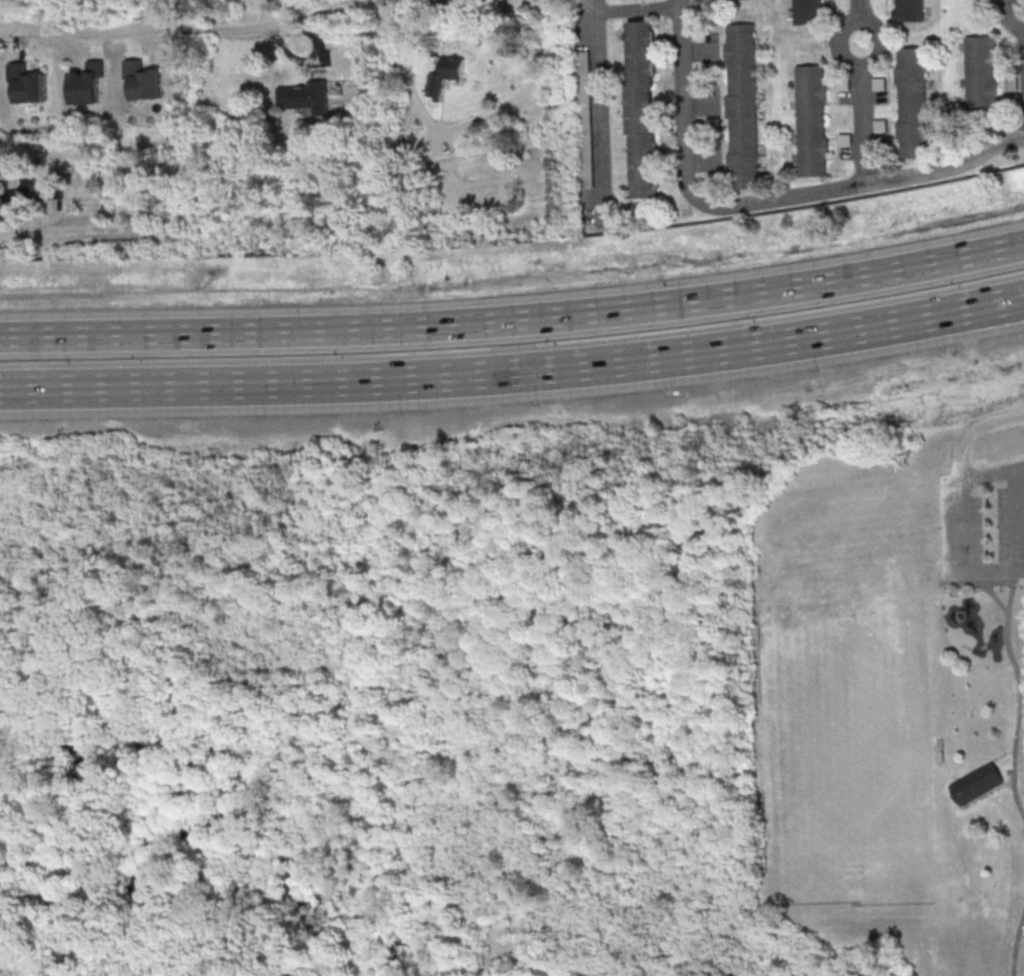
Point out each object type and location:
road: (636, 7)
building: (909, 10)
building: (808, 11)
road: (225, 30)
building: (982, 73)
building: (444, 74)
road: (401, 75)
building: (143, 79)
building: (27, 82)
building: (87, 83)
road: (525, 91)
road: (863, 91)
building: (913, 101)
building: (742, 104)
road: (600, 107)
building: (642, 108)
building: (812, 119)
building: (34, 186)
road: (764, 200)
road: (28, 222)
road: (982, 306)
road: (982, 309)
road: (514, 319)
road: (472, 375)
road: (973, 431)
road: (991, 472)
road: (1016, 518)
parking lot: (981, 523)
road: (962, 557)
road: (977, 583)
road: (991, 593)
park: (892, 690)
road: (1019, 692)
road: (423, 694)
park: (847, 744)
road: (935, 763)
building: (977, 785)
road: (949, 789)
river: (204, 840)
road: (511, 880)
road: (517, 907)
road: (1016, 945)

